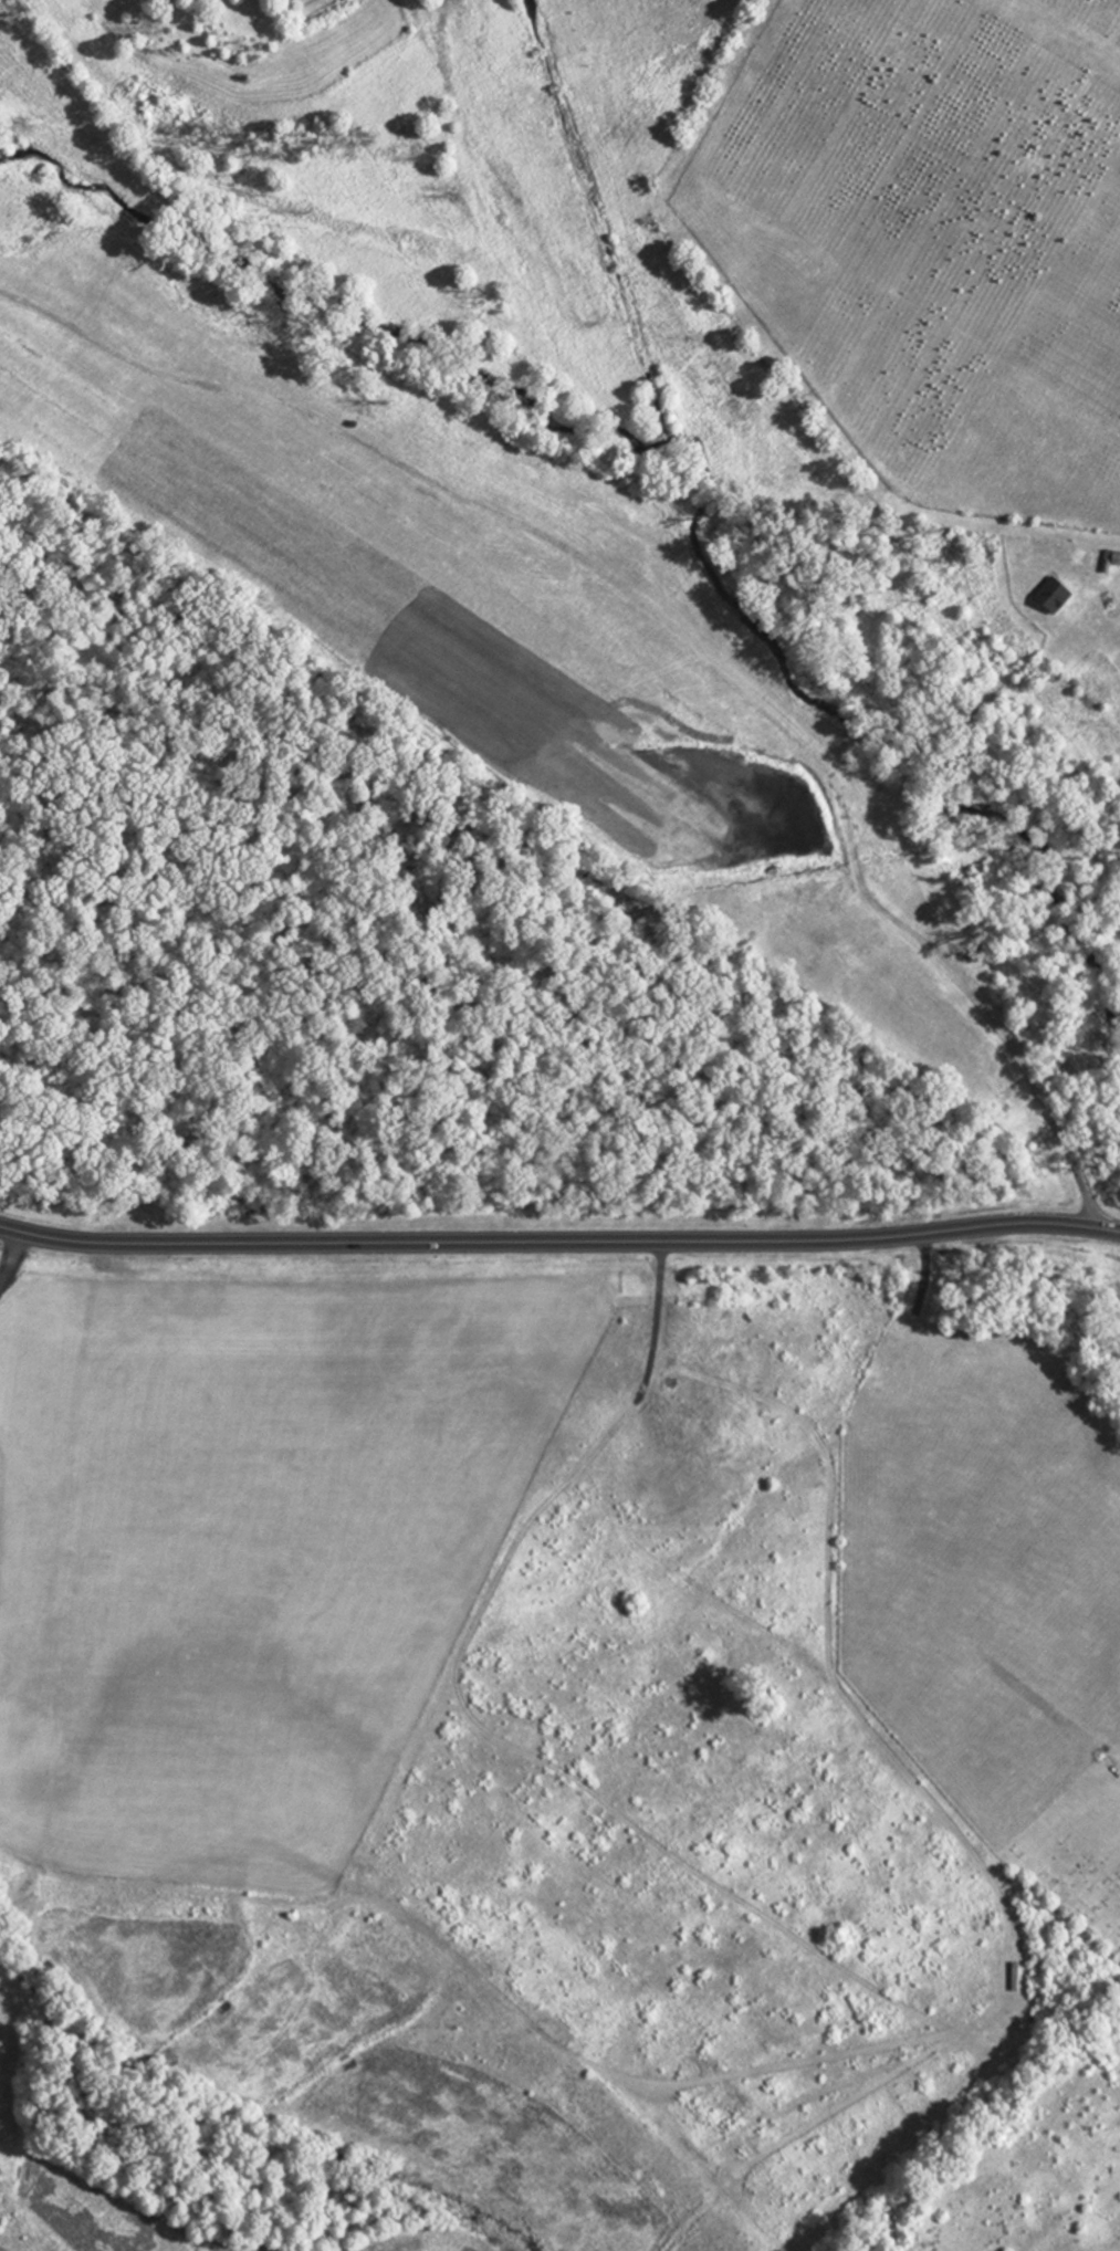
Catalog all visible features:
building: (1056, 591)
road: (559, 1239)
crop: (984, 1562)
road: (53, 1584)
crop: (512, 1681)
park: (1079, 1849)
crop: (1044, 2176)

